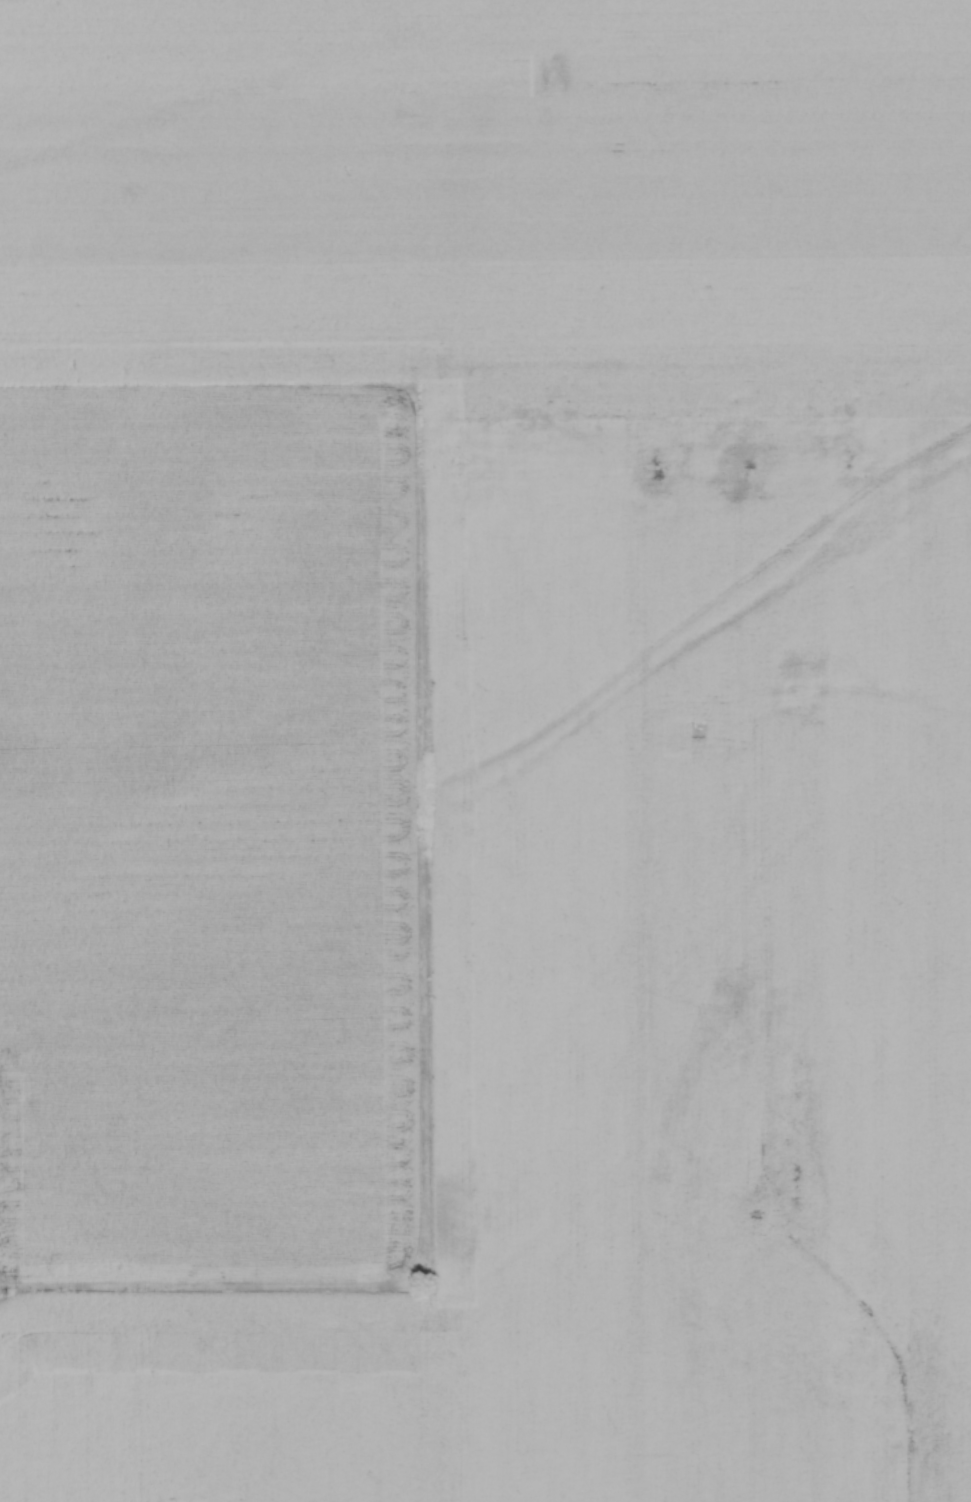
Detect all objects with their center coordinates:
crop: (483, 190)
crop: (500, 905)
crop: (216, 1396)

